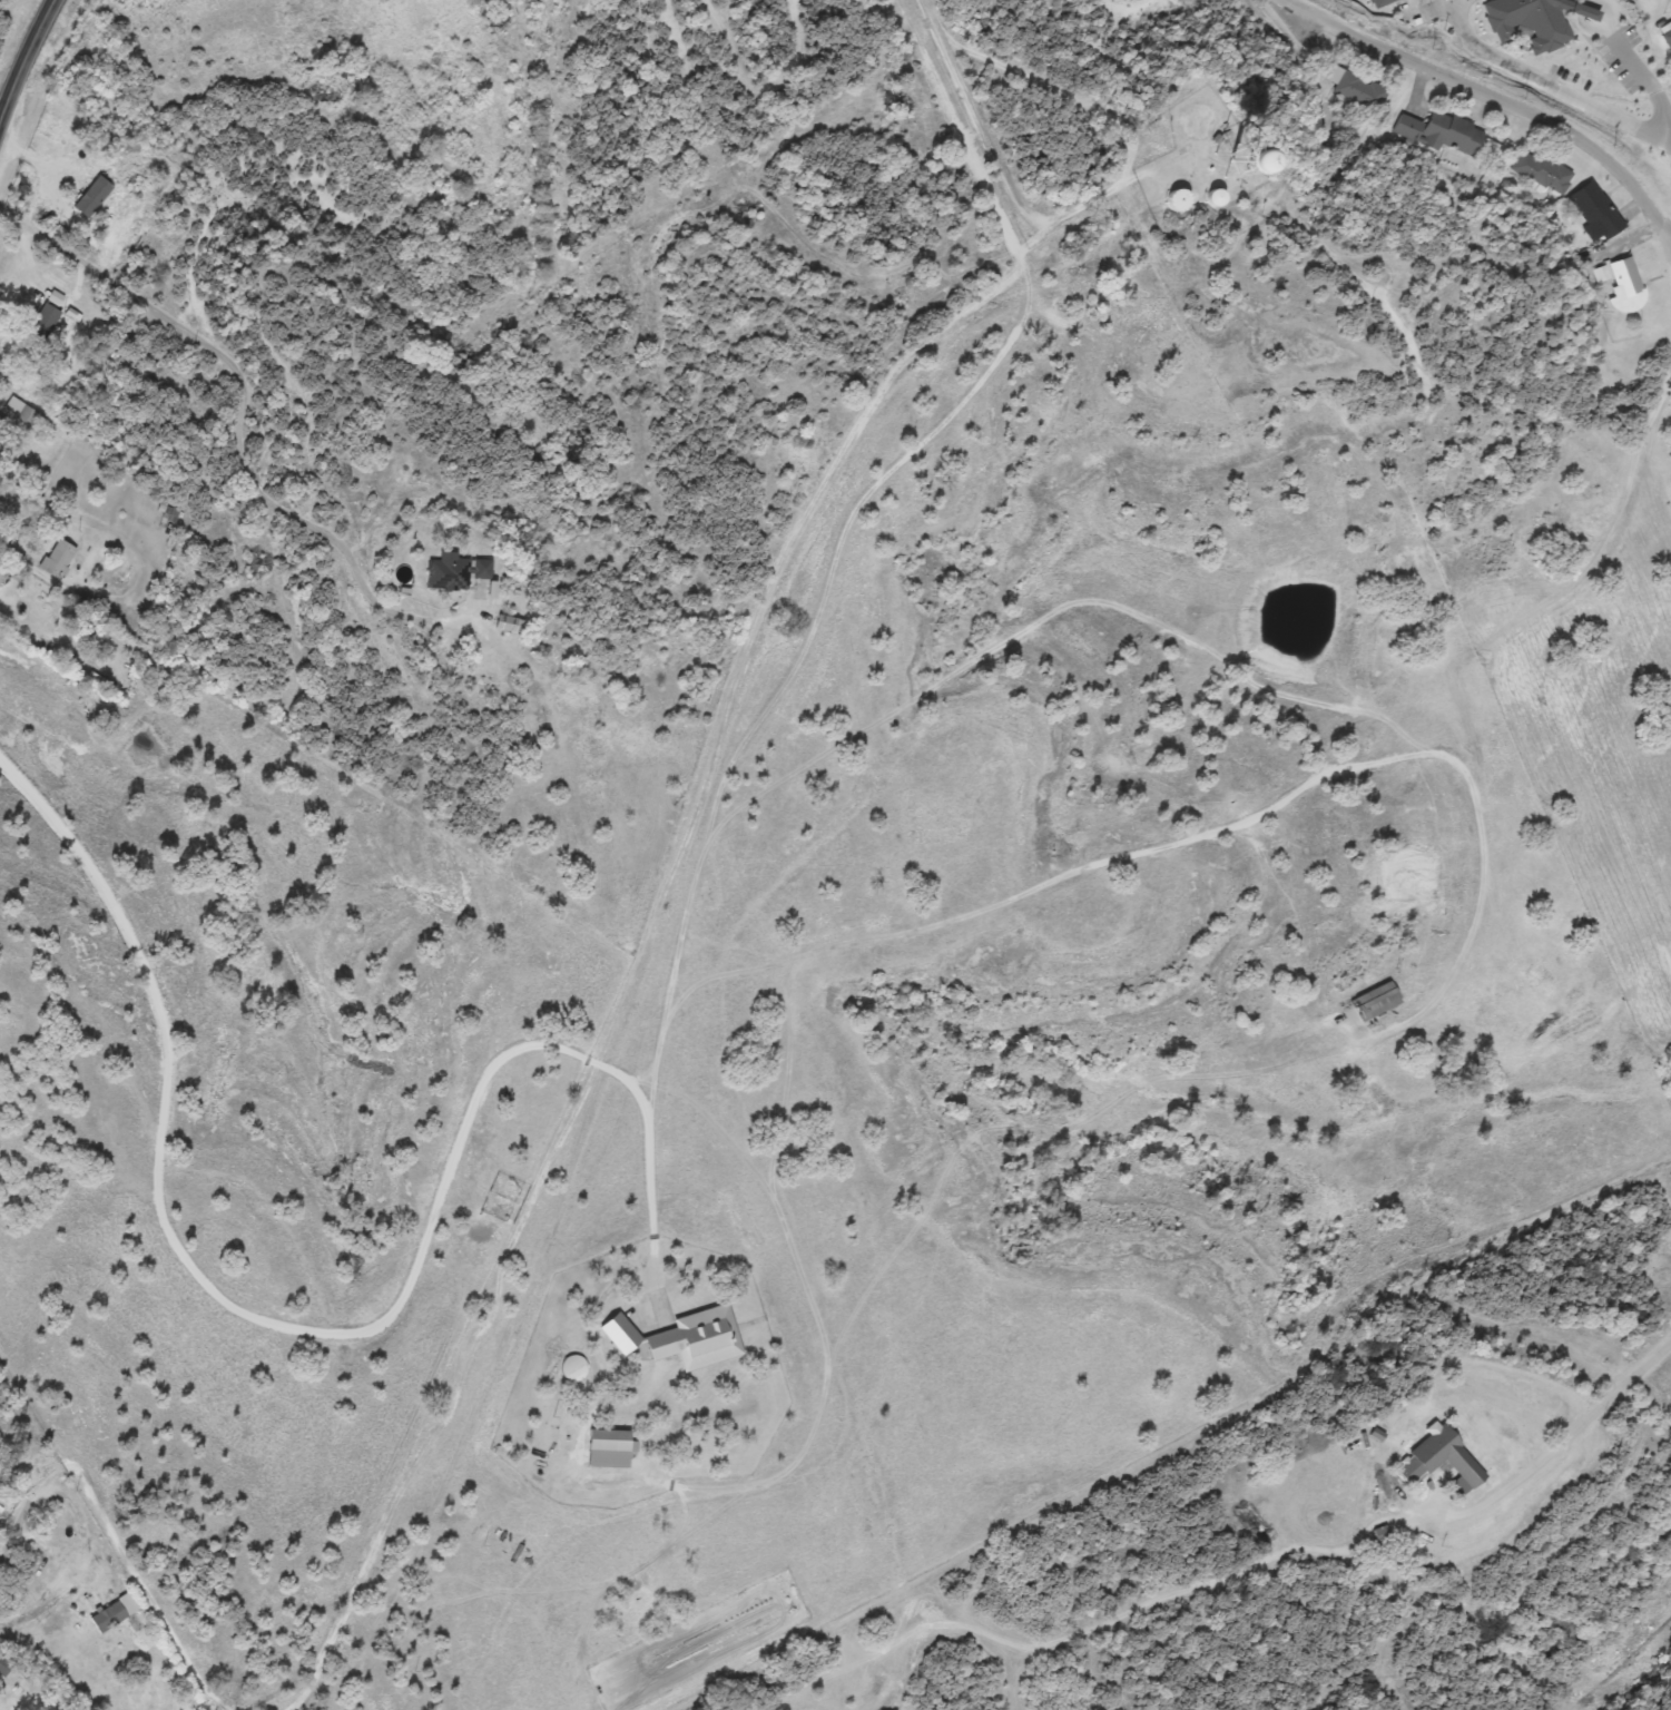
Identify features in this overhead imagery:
building: (1376, 2)
building: (1529, 20)
building: (1668, 37)
road: (20, 45)
building: (1359, 90)
road: (1487, 94)
building: (1195, 120)
building: (1449, 132)
road: (1298, 138)
road: (1353, 155)
building: (1254, 169)
building: (1540, 170)
building: (1217, 198)
building: (1178, 200)
building: (1595, 210)
road: (1670, 239)
road: (1670, 249)
building: (1624, 277)
building: (45, 321)
building: (21, 411)
road: (1649, 415)
building: (2, 423)
road: (226, 424)
building: (59, 559)
building: (456, 571)
building: (1, 573)
building: (1375, 1001)
road: (332, 1334)
building: (610, 1448)
building: (1442, 1461)
building: (109, 1616)
building: (3, 1665)

